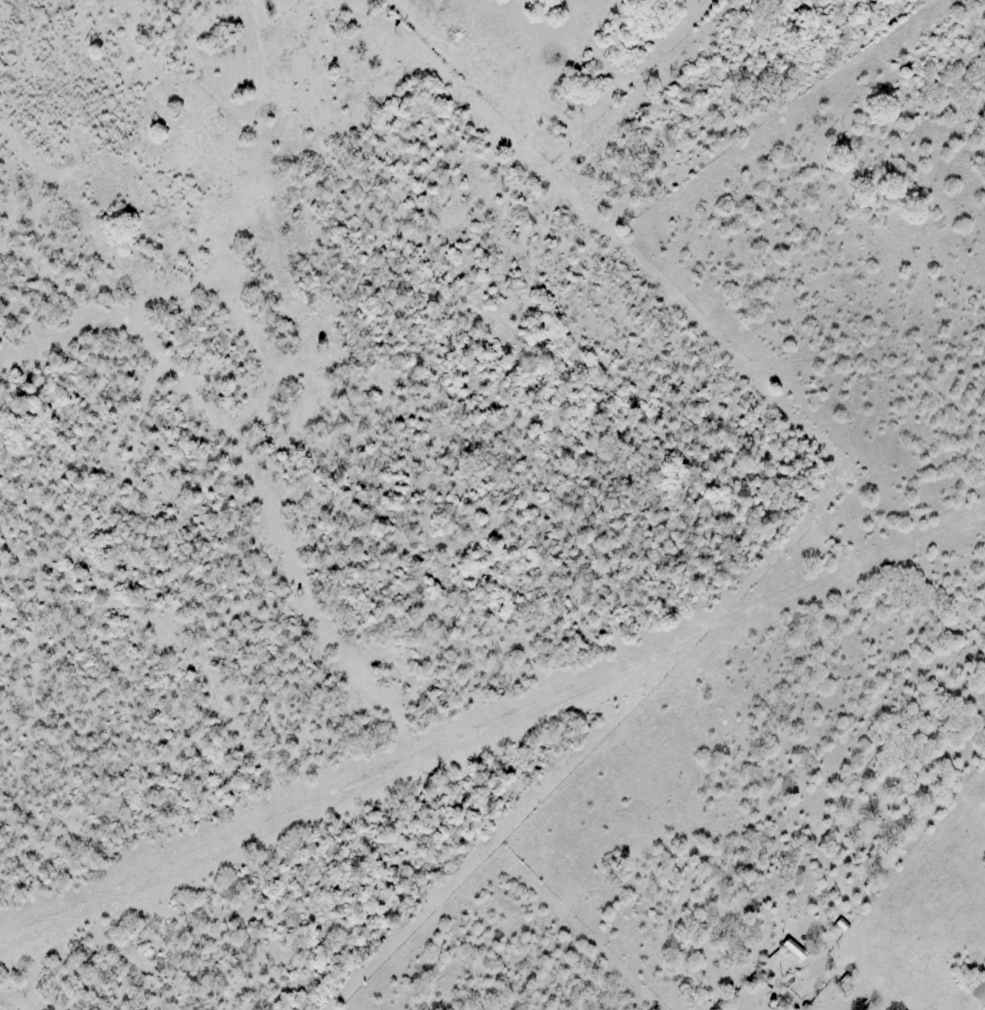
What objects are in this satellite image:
building: (793, 951)
road: (888, 981)
building: (979, 990)
road: (973, 1009)

